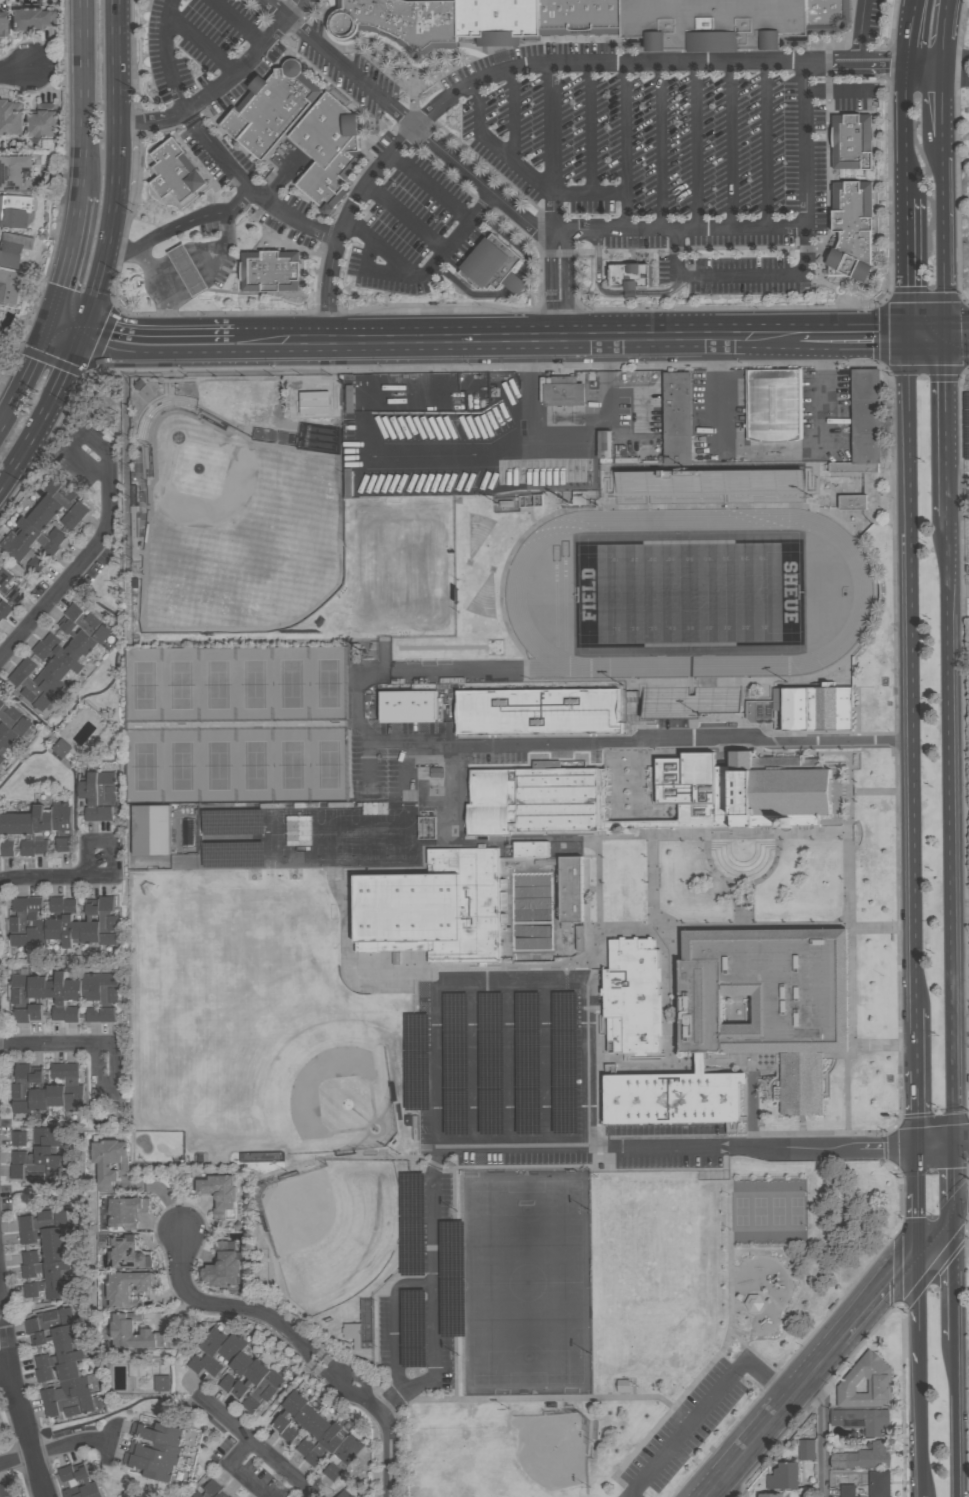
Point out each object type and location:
building: (733, 17)
building: (500, 18)
building: (583, 18)
building: (30, 19)
building: (402, 20)
building: (2, 21)
road: (239, 22)
road: (909, 29)
road: (864, 30)
road: (947, 30)
road: (204, 45)
road: (956, 55)
road: (925, 61)
road: (531, 64)
road: (14, 70)
road: (954, 75)
road: (225, 85)
road: (837, 91)
road: (82, 97)
road: (943, 101)
building: (274, 109)
road: (517, 117)
building: (10, 118)
building: (43, 125)
road: (903, 126)
road: (594, 127)
building: (856, 142)
road: (216, 145)
road: (734, 145)
road: (770, 145)
road: (629, 146)
road: (664, 146)
road: (699, 146)
building: (332, 151)
road: (118, 168)
building: (13, 171)
building: (176, 172)
road: (526, 172)
road: (283, 180)
road: (434, 186)
road: (505, 201)
road: (560, 202)
building: (15, 212)
road: (409, 217)
road: (185, 227)
building: (856, 230)
road: (946, 240)
road: (805, 255)
road: (68, 259)
road: (213, 264)
building: (490, 266)
road: (902, 266)
building: (188, 269)
road: (381, 271)
road: (429, 272)
building: (270, 273)
gas station: (270, 273)
road: (597, 273)
building: (633, 277)
building: (9, 287)
road: (662, 293)
road: (165, 294)
road: (631, 294)
traffic signals: (51, 324)
road: (69, 328)
road: (958, 332)
traffic signals: (87, 333)
road: (850, 339)
traffic signals: (902, 339)
road: (925, 339)
traffic signals: (948, 339)
road: (958, 342)
road: (517, 343)
road: (160, 346)
road: (37, 353)
road: (71, 367)
road: (364, 371)
road: (531, 388)
building: (564, 391)
road: (430, 399)
road: (11, 400)
building: (774, 403)
road: (365, 405)
building: (866, 415)
road: (603, 417)
building: (678, 417)
building: (966, 423)
road: (948, 427)
road: (27, 442)
building: (606, 446)
road: (771, 448)
road: (434, 458)
building: (855, 466)
building: (710, 486)
building: (58, 489)
road: (959, 494)
building: (579, 497)
building: (530, 500)
building: (853, 501)
building: (48, 507)
building: (73, 516)
building: (38, 520)
park: (238, 530)
building: (55, 537)
building: (34, 538)
building: (14, 547)
road: (85, 559)
building: (36, 563)
park: (399, 566)
building: (4, 579)
park: (688, 592)
track: (515, 594)
building: (15, 595)
building: (4, 609)
building: (0, 618)
building: (86, 623)
building: (78, 639)
building: (39, 651)
building: (63, 653)
building: (25, 666)
road: (907, 673)
building: (63, 674)
building: (48, 683)
park: (235, 685)
building: (29, 690)
building: (408, 706)
building: (818, 708)
building: (760, 710)
building: (537, 711)
road: (359, 713)
building: (17, 721)
building: (6, 734)
road: (659, 742)
building: (1, 746)
building: (60, 749)
parking lot: (497, 749)
building: (1, 758)
parking lot: (389, 759)
road: (367, 760)
park: (236, 765)
road: (408, 765)
building: (105, 787)
building: (748, 792)
building: (89, 796)
building: (533, 800)
building: (104, 814)
building: (233, 822)
building: (8, 823)
building: (62, 825)
building: (41, 827)
building: (427, 827)
building: (151, 829)
road: (951, 831)
building: (188, 832)
building: (25, 833)
park: (334, 838)
road: (110, 845)
building: (6, 848)
building: (531, 848)
building: (234, 853)
road: (43, 878)
building: (571, 888)
road: (960, 907)
building: (434, 908)
building: (106, 915)
building: (54, 919)
building: (18, 922)
building: (35, 923)
building: (69, 923)
building: (89, 924)
building: (580, 938)
building: (19, 987)
building: (36, 987)
building: (90, 987)
building: (107, 988)
building: (72, 989)
building: (56, 995)
building: (634, 995)
park: (232, 999)
building: (769, 999)
building: (35, 1011)
building: (70, 1014)
building: (106, 1014)
building: (21, 1015)
building: (92, 1015)
road: (436, 1020)
road: (915, 1039)
road: (48, 1045)
building: (418, 1061)
building: (456, 1063)
road: (475, 1063)
building: (492, 1063)
road: (511, 1063)
building: (529, 1063)
road: (549, 1063)
building: (566, 1063)
parking lot: (505, 1065)
road: (115, 1083)
building: (55, 1085)
building: (20, 1089)
building: (71, 1089)
building: (37, 1092)
park: (336, 1095)
building: (673, 1097)
road: (914, 1109)
building: (36, 1137)
parking lot: (669, 1145)
road: (676, 1146)
traffic signals: (913, 1147)
road: (941, 1147)
traffic signals: (953, 1147)
building: (37, 1157)
building: (108, 1162)
building: (37, 1173)
road: (953, 1180)
building: (218, 1192)
road: (913, 1202)
road: (961, 1205)
park: (741, 1210)
park: (760, 1210)
park: (778, 1210)
park: (796, 1210)
building: (123, 1212)
traffic signals: (953, 1214)
building: (42, 1220)
building: (413, 1223)
park: (333, 1229)
road: (933, 1235)
building: (41, 1236)
building: (54, 1253)
building: (127, 1253)
building: (29, 1257)
traffic signals: (914, 1257)
building: (221, 1266)
building: (45, 1269)
road: (954, 1277)
building: (453, 1278)
park: (656, 1278)
park: (526, 1281)
building: (127, 1287)
parking lot: (422, 1287)
building: (48, 1289)
road: (878, 1298)
building: (754, 1302)
road: (211, 1306)
road: (915, 1310)
park: (629, 1317)
building: (414, 1318)
building: (48, 1320)
building: (121, 1330)
building: (53, 1336)
road: (398, 1337)
building: (231, 1347)
road: (309, 1347)
building: (206, 1348)
road: (303, 1354)
building: (58, 1356)
building: (241, 1362)
road: (328, 1363)
building: (212, 1367)
road: (5, 1370)
building: (67, 1370)
road: (323, 1371)
road: (813, 1373)
building: (43, 1374)
building: (249, 1378)
building: (161, 1382)
building: (226, 1382)
building: (865, 1383)
building: (624, 1385)
building: (73, 1387)
building: (262, 1392)
building: (46, 1395)
road: (390, 1398)
road: (17, 1403)
road: (708, 1405)
building: (68, 1406)
building: (288, 1411)
road: (956, 1419)
building: (860, 1420)
building: (298, 1425)
road: (385, 1425)
parking lot: (686, 1427)
road: (918, 1429)
road: (820, 1431)
building: (157, 1432)
building: (311, 1436)
building: (326, 1444)
road: (754, 1444)
road: (257, 1448)
building: (807, 1449)
building: (155, 1451)
road: (42, 1454)
building: (343, 1454)
park: (504, 1456)
building: (861, 1458)
building: (149, 1466)
road: (237, 1471)
building: (785, 1476)
building: (86, 1481)
building: (67, 1482)
building: (877, 1482)
road: (715, 1488)
building: (7, 1489)
building: (207, 1489)
building: (848, 1490)
building: (350, 1491)
building: (217, 1495)
building: (770, 1495)
road: (920, 1496)

